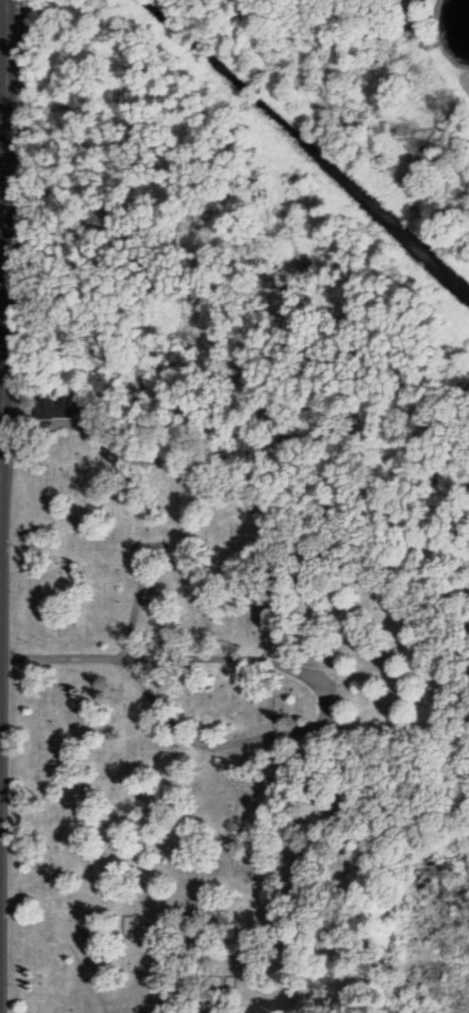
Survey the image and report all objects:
road: (4, 301)
building: (52, 407)
road: (1, 428)
road: (0, 550)
road: (138, 605)
road: (66, 657)
road: (317, 724)
park: (219, 726)

